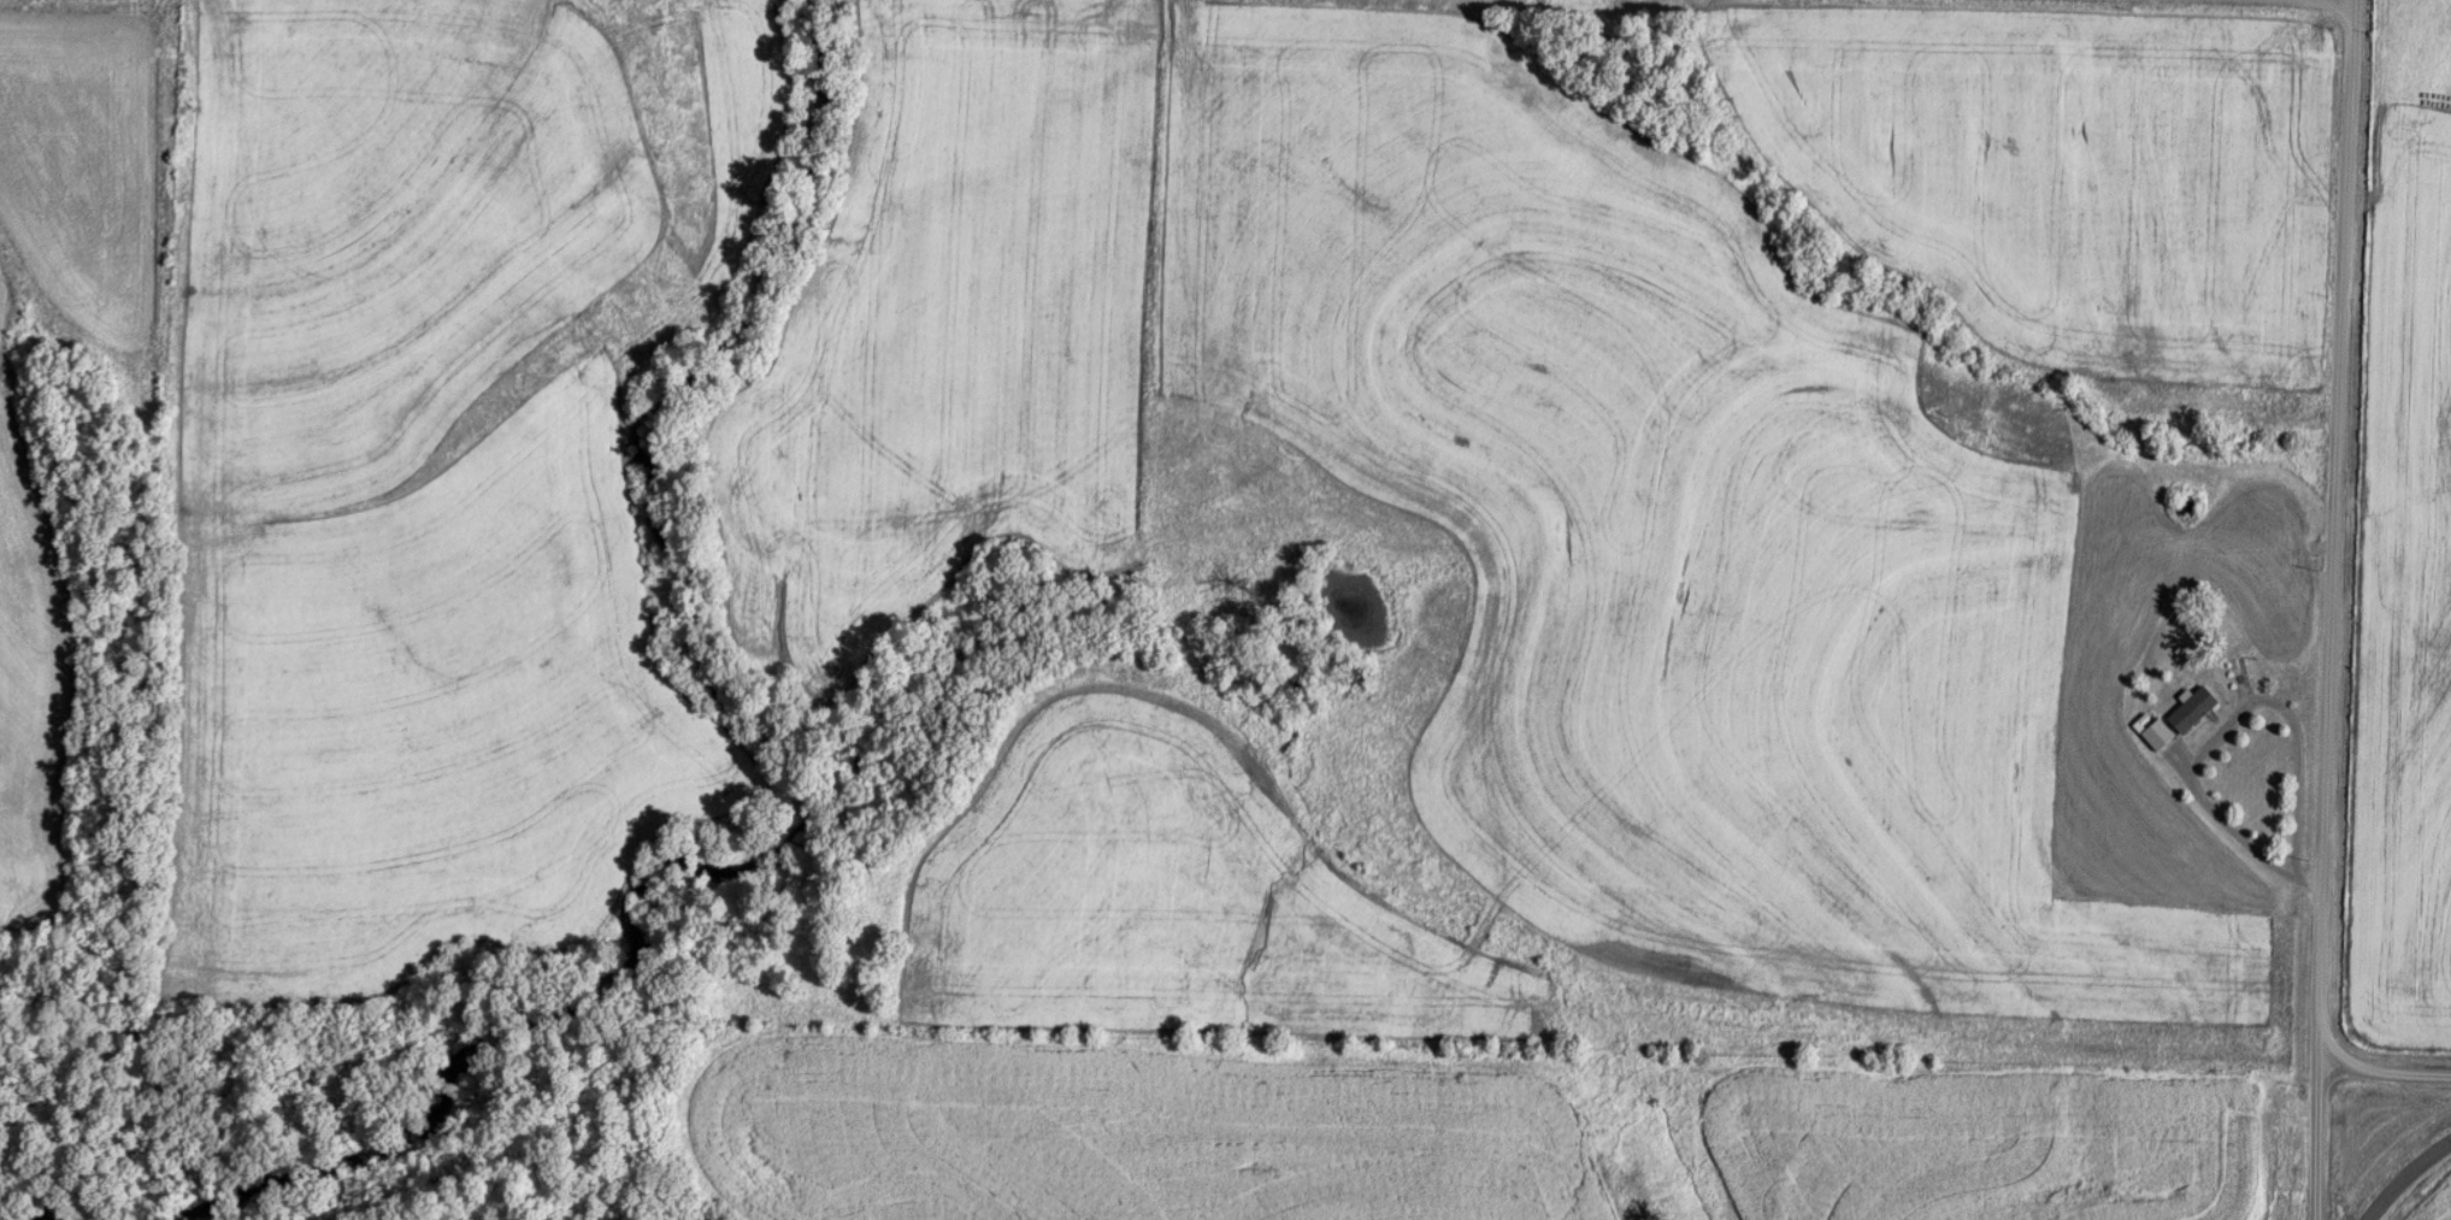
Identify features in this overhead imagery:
road: (2328, 609)
building: (2241, 671)
building: (2194, 707)
road: (2384, 1063)
road: (2402, 1173)

